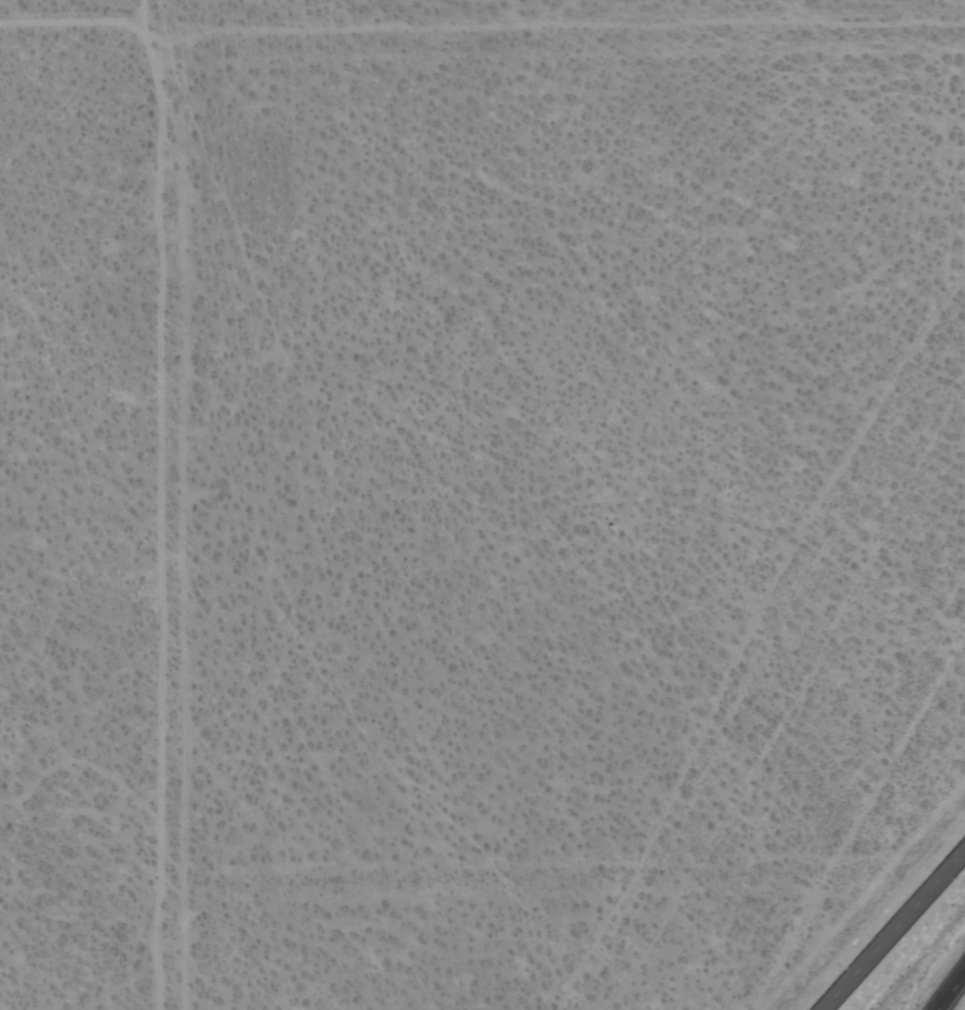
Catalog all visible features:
road: (480, 28)
road: (182, 502)
road: (161, 548)
road: (895, 931)
road: (951, 991)

